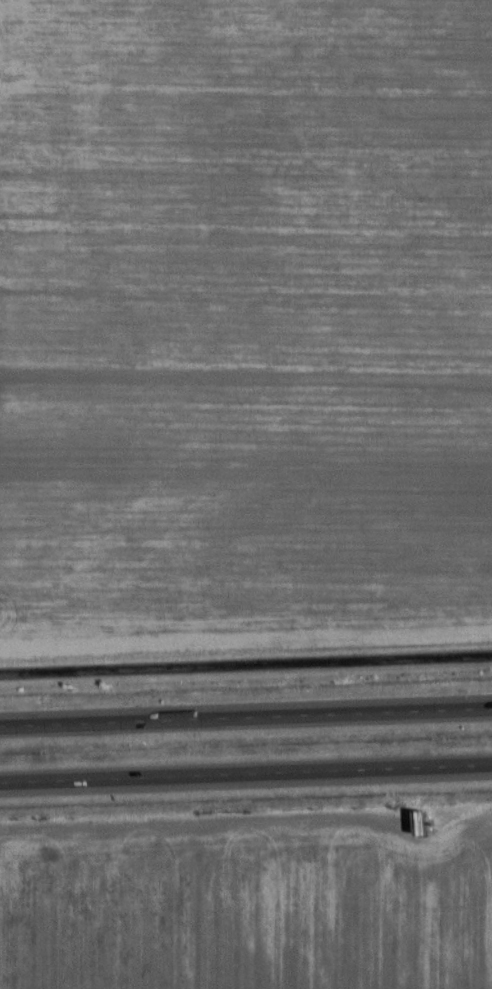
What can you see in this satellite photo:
road: (246, 669)
road: (246, 721)
road: (246, 783)

